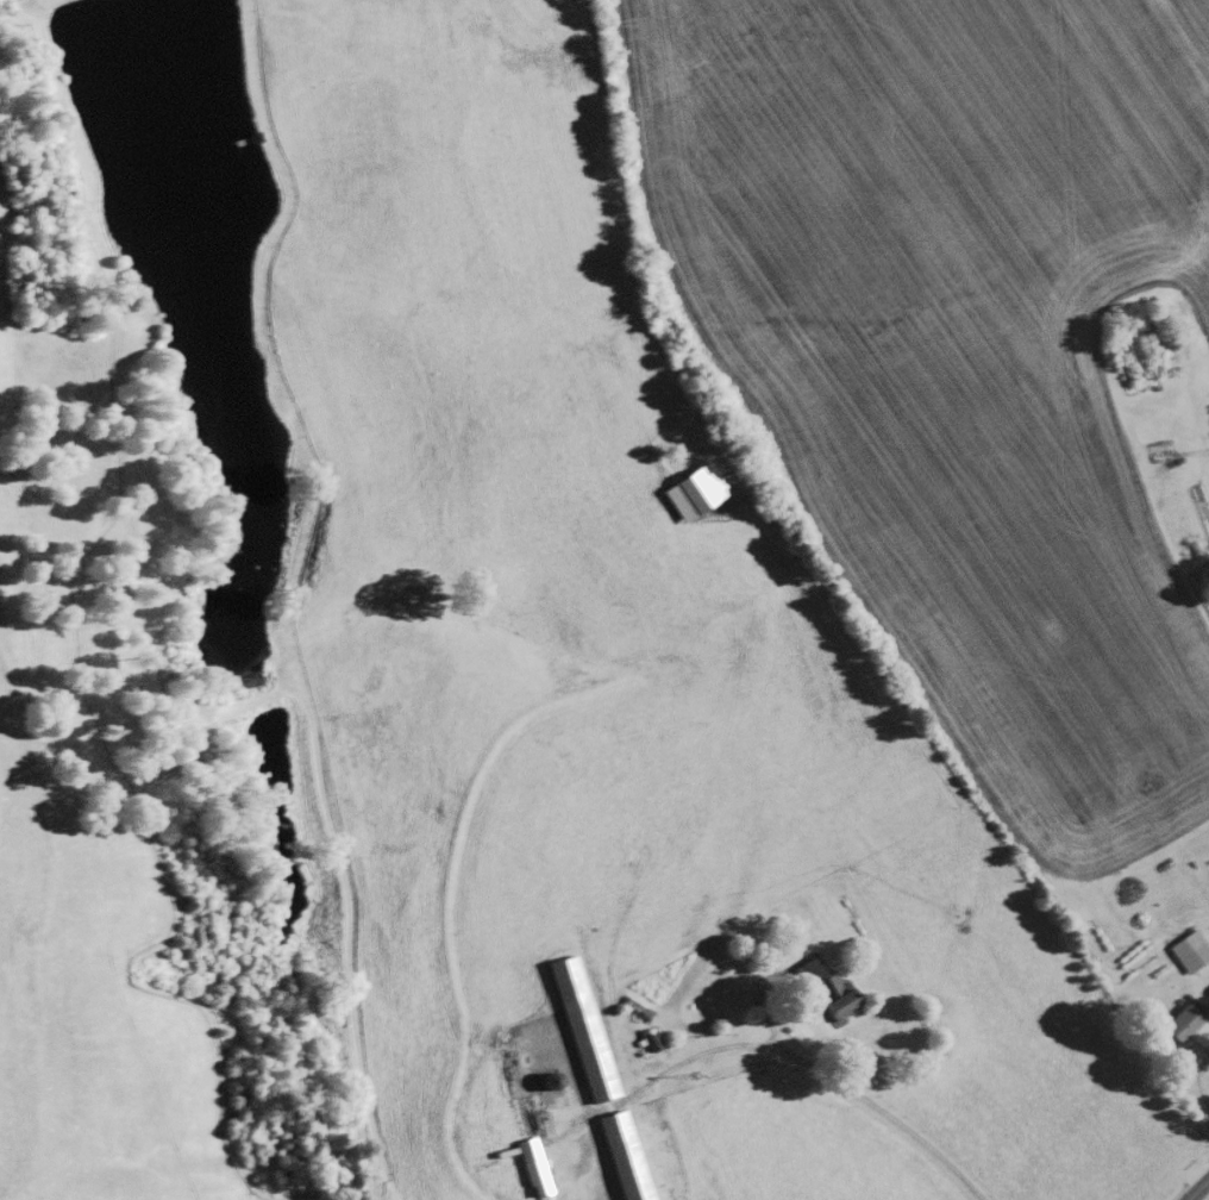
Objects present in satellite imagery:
building: (690, 488)
crop: (90, 871)
building: (1182, 942)
building: (822, 988)
building: (1177, 1021)
building: (582, 1029)
building: (649, 1038)
road: (844, 1088)
building: (622, 1156)
building: (530, 1165)
road: (1197, 1188)

